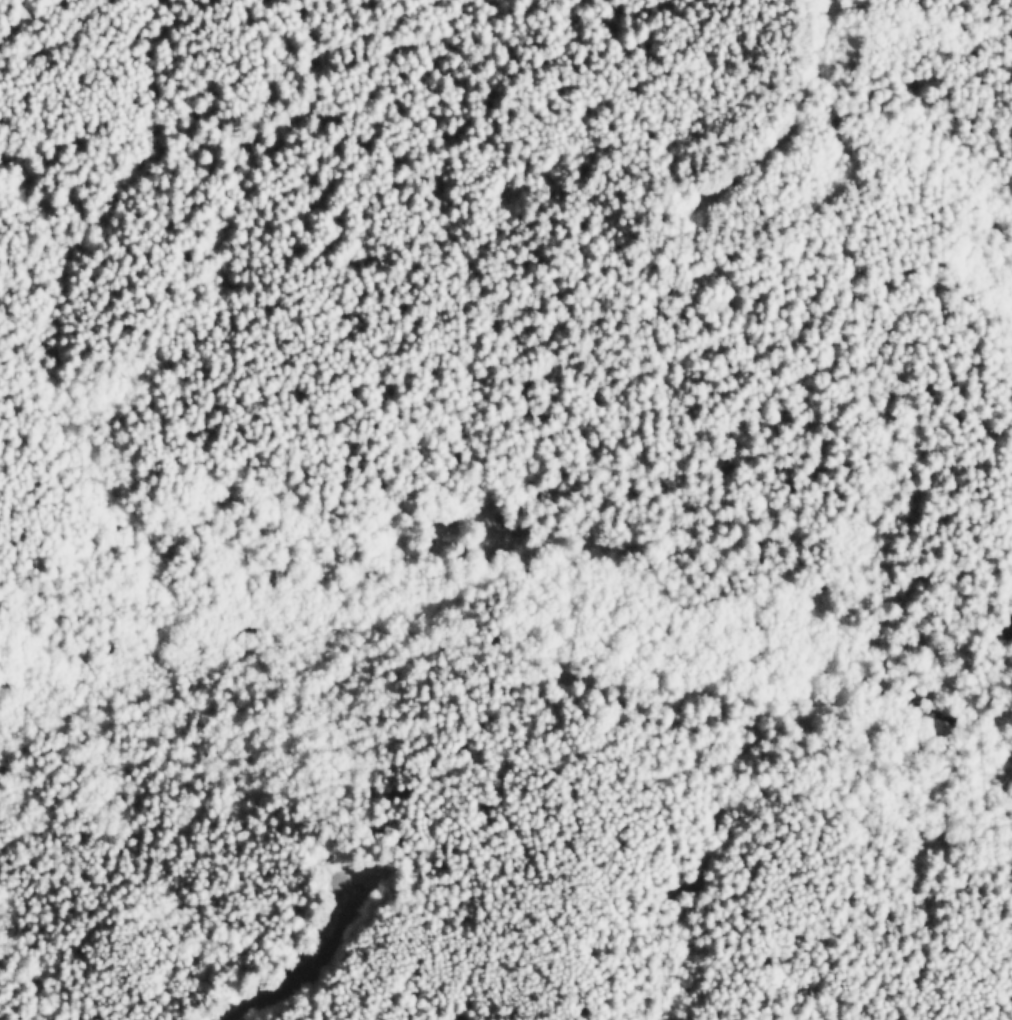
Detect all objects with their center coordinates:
road: (885, 84)
road: (308, 971)

